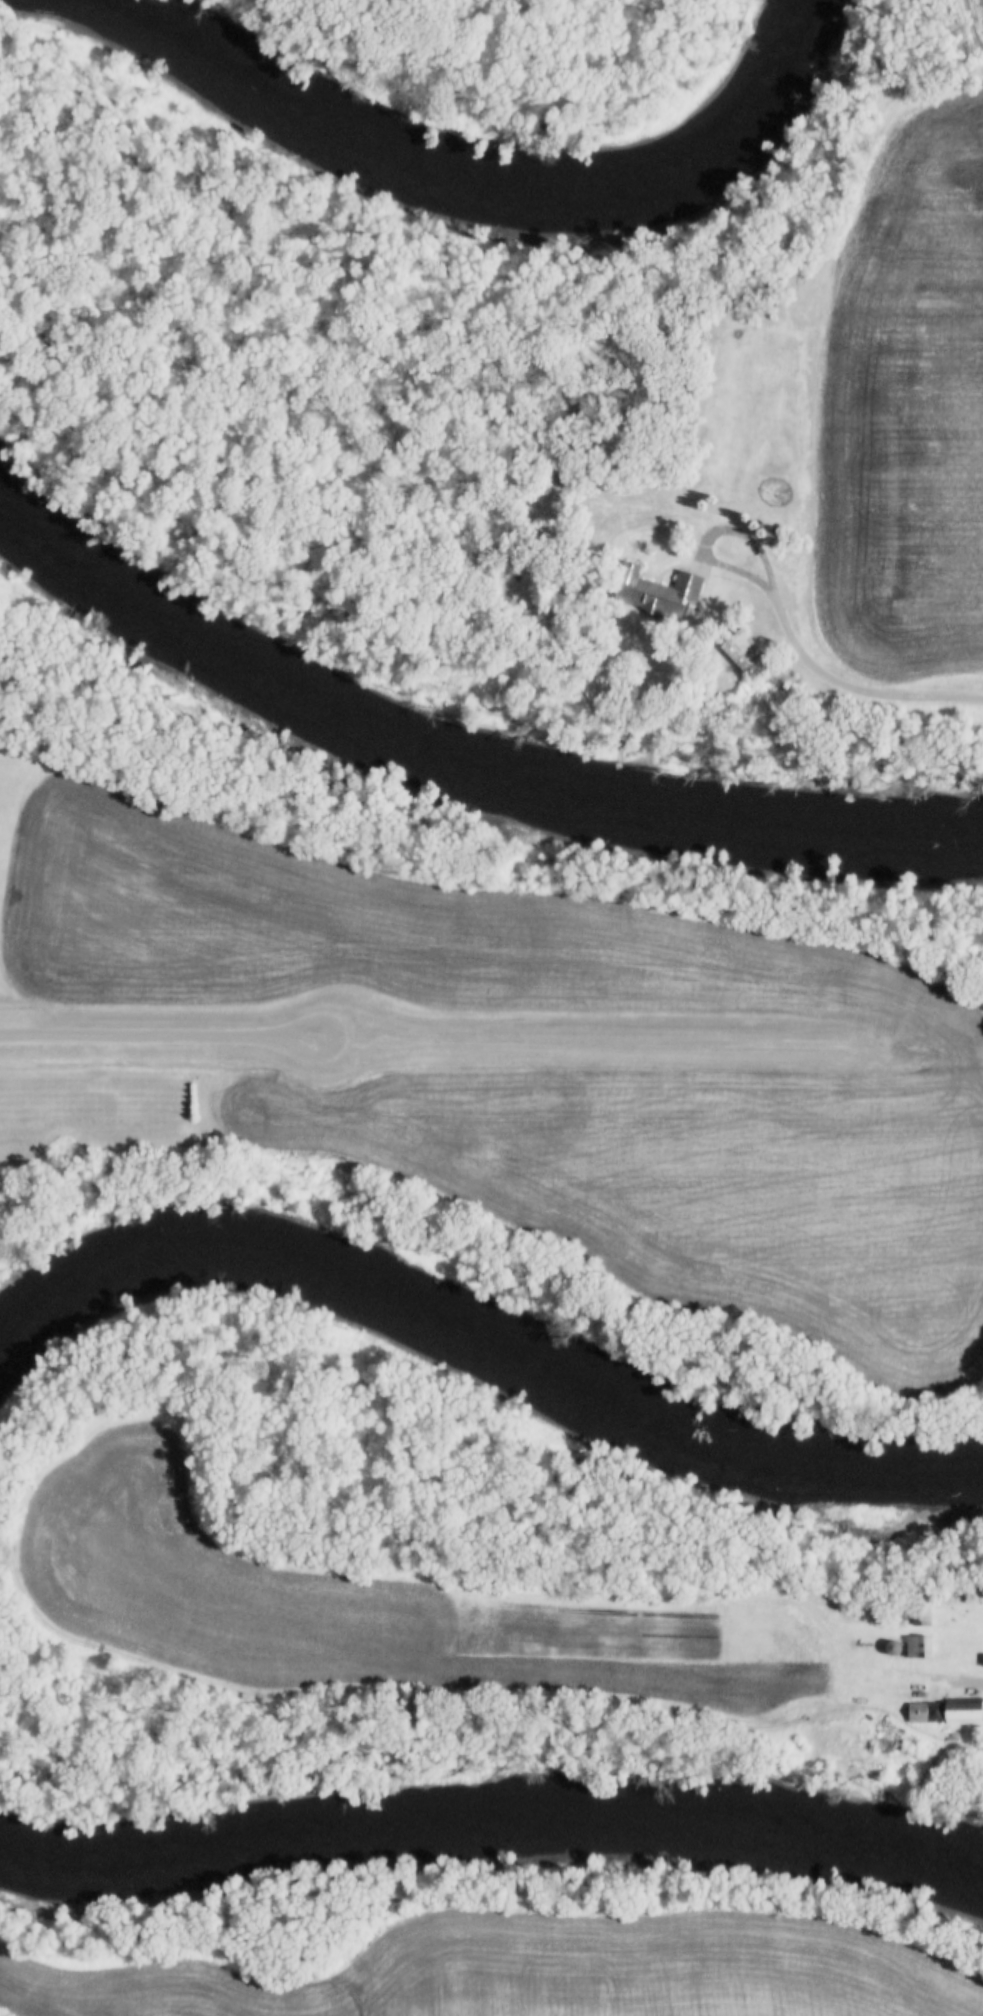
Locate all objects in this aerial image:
river: (455, 162)
crop: (901, 408)
road: (712, 536)
building: (657, 590)
building: (745, 654)
road: (852, 689)
river: (461, 765)
road: (160, 1034)
road: (652, 1042)
river: (484, 1341)
building: (922, 1608)
building: (918, 1645)
building: (963, 1709)
building: (925, 1711)
river: (492, 1822)

